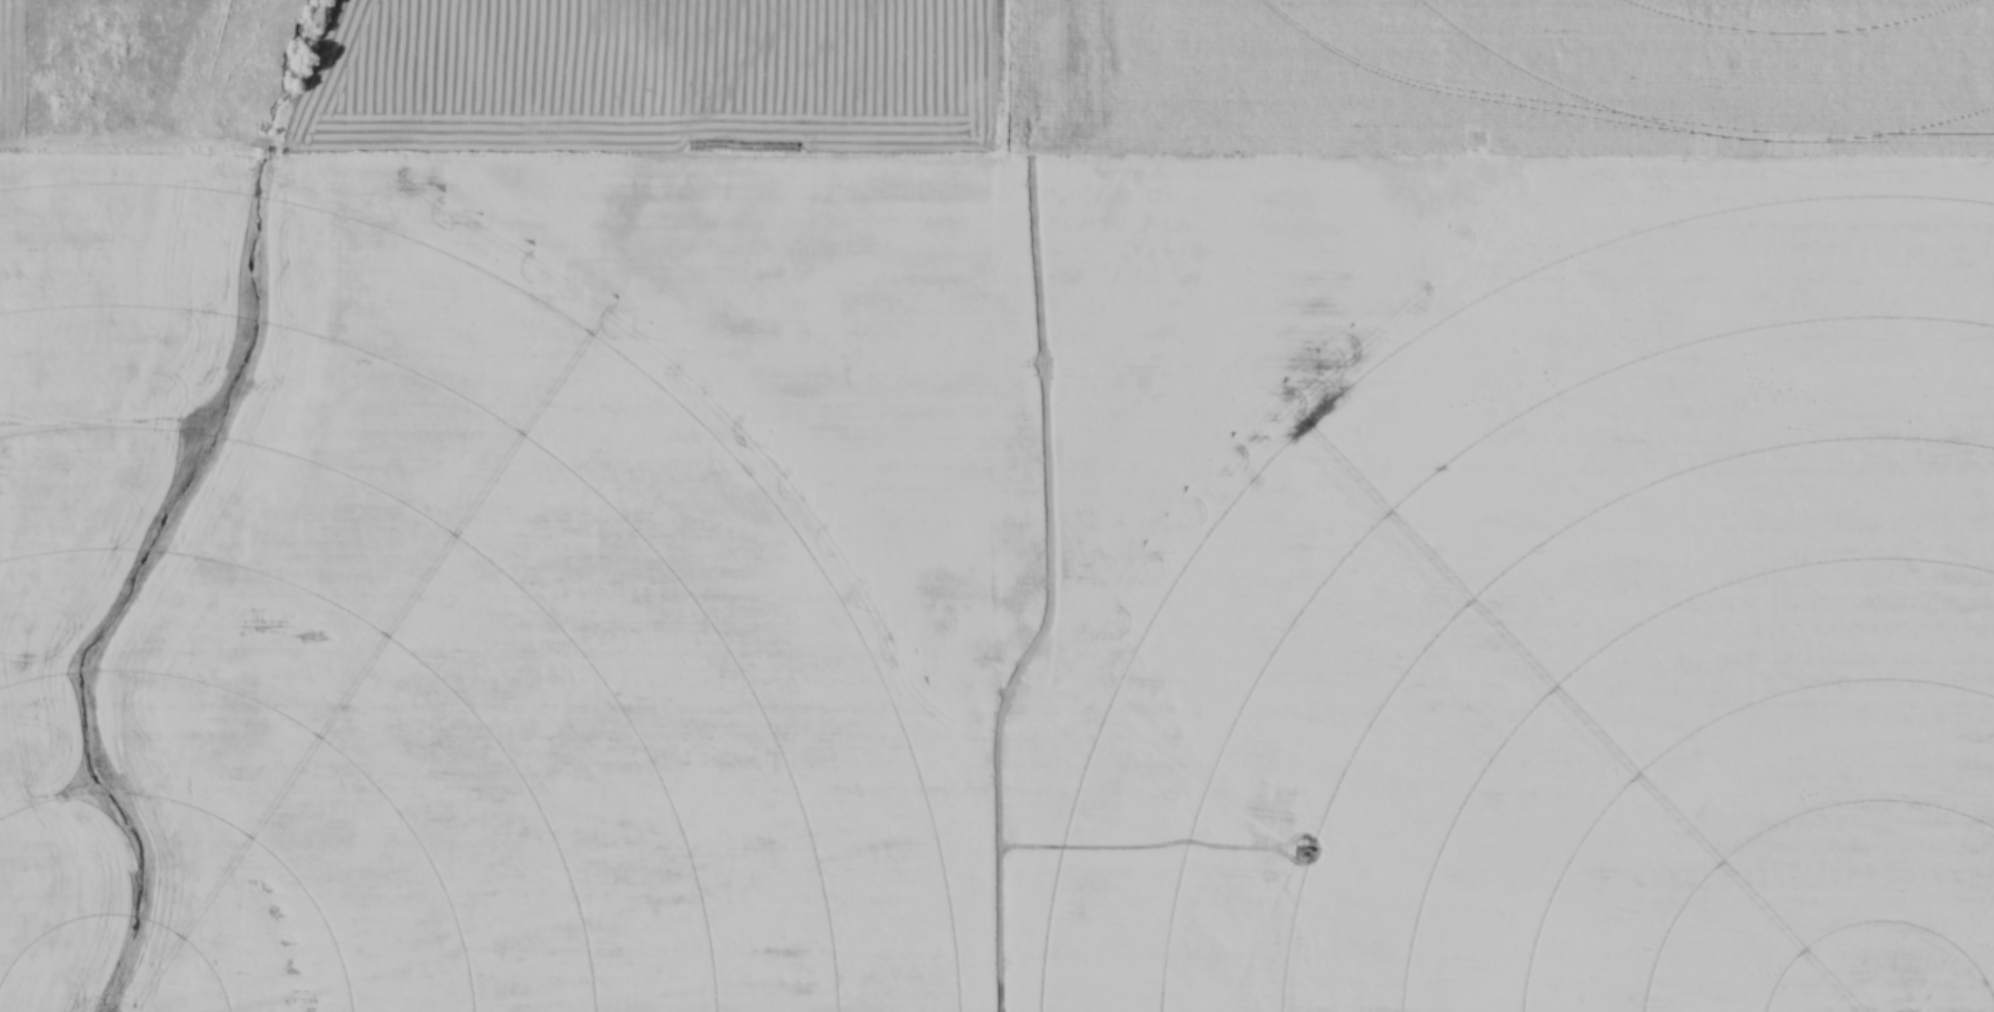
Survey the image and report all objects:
building: (756, 19)

